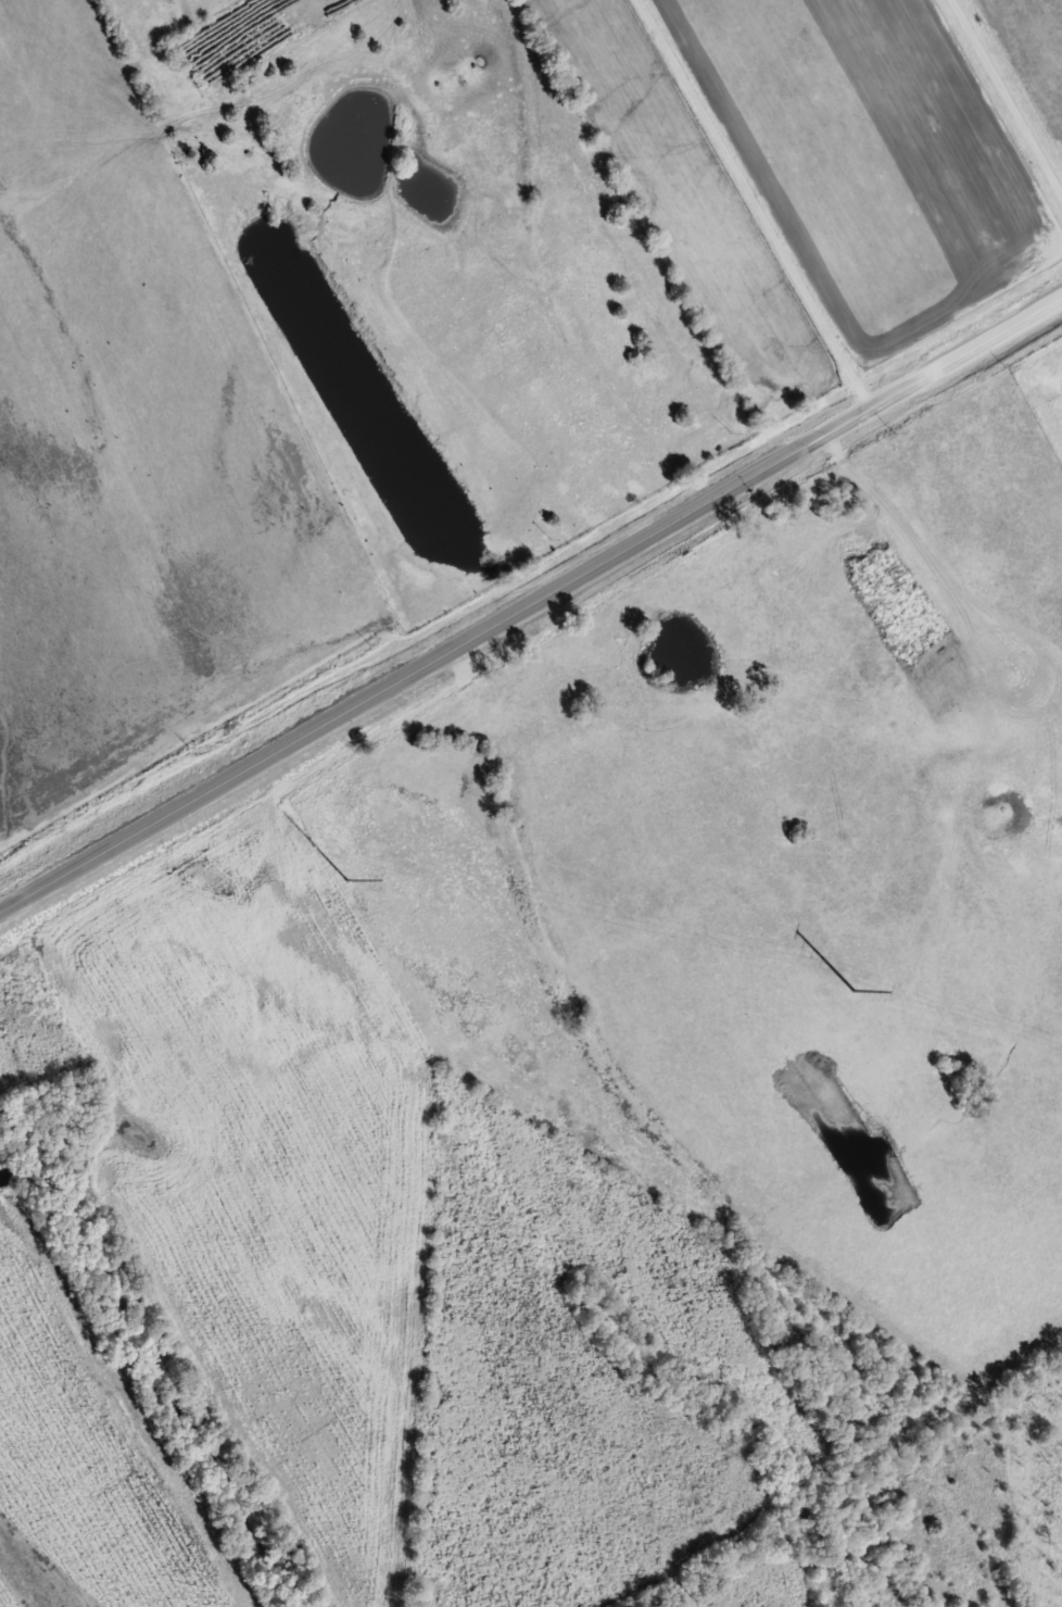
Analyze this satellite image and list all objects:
road: (1007, 96)
road: (753, 206)
road: (529, 600)
power tower: (345, 878)
power tower: (854, 991)

